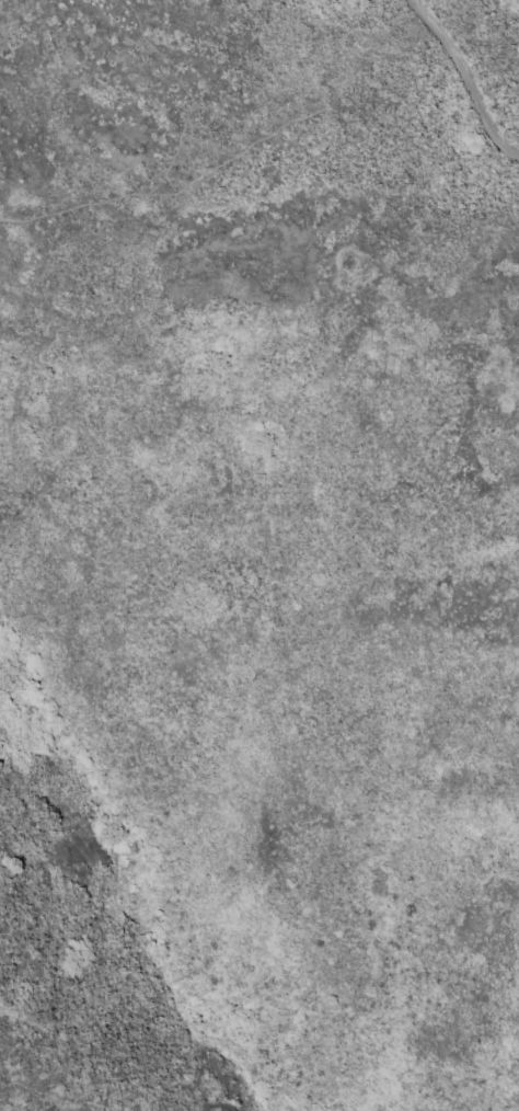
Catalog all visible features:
road: (465, 81)

